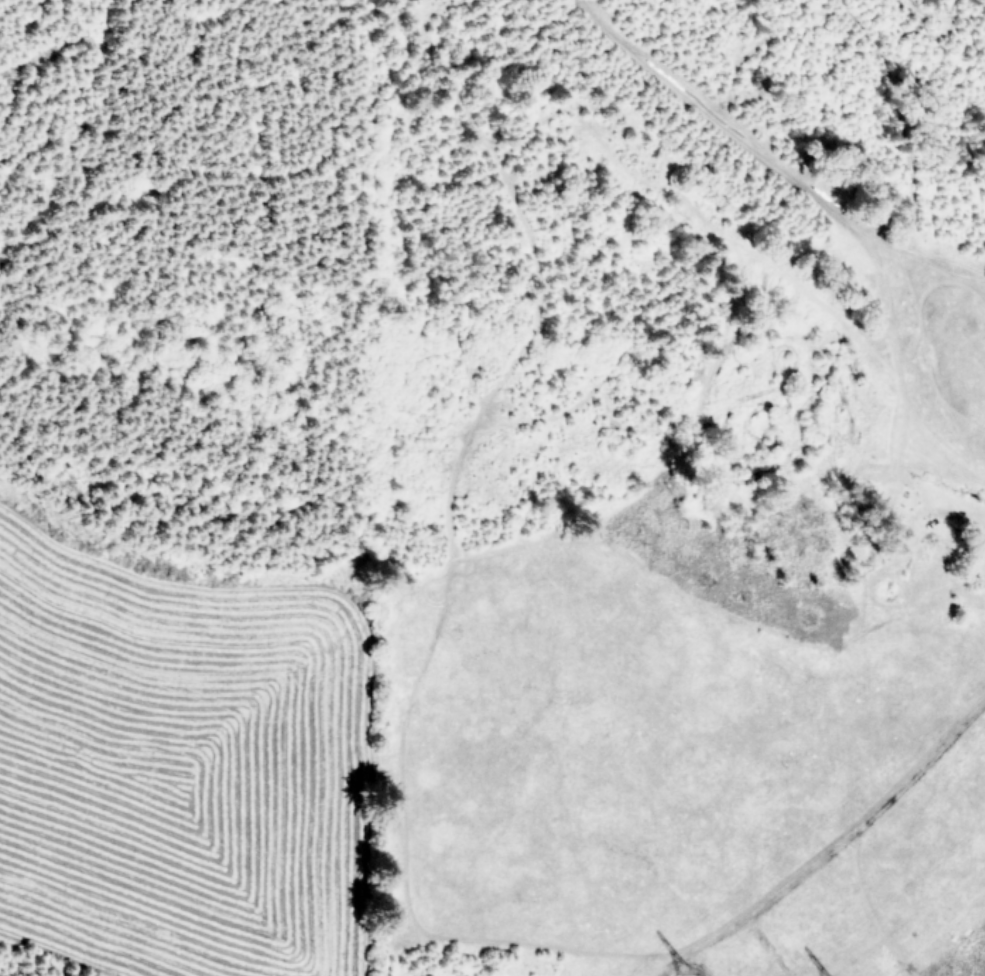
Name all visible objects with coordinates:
crop: (178, 744)
power tower: (686, 973)

